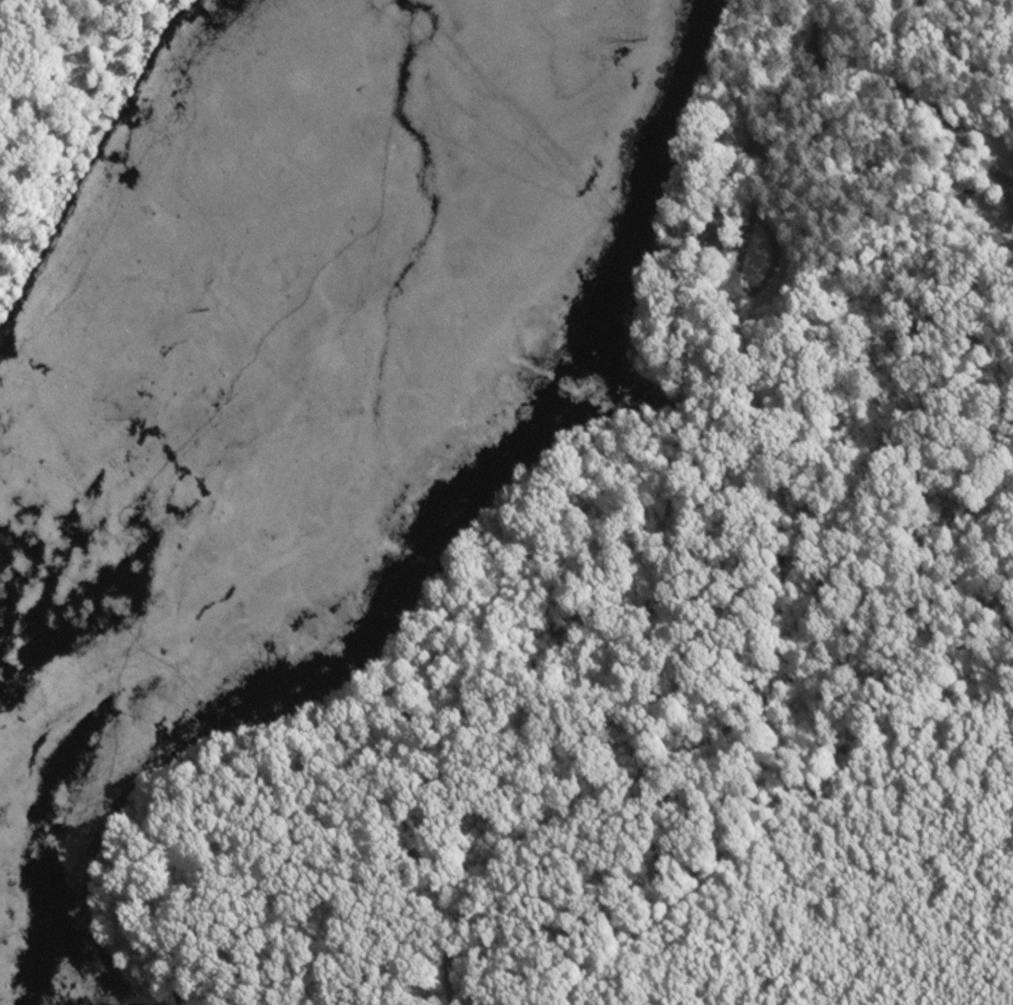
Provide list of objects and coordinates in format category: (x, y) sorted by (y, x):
road: (845, 81)
road: (713, 285)
road: (710, 748)

